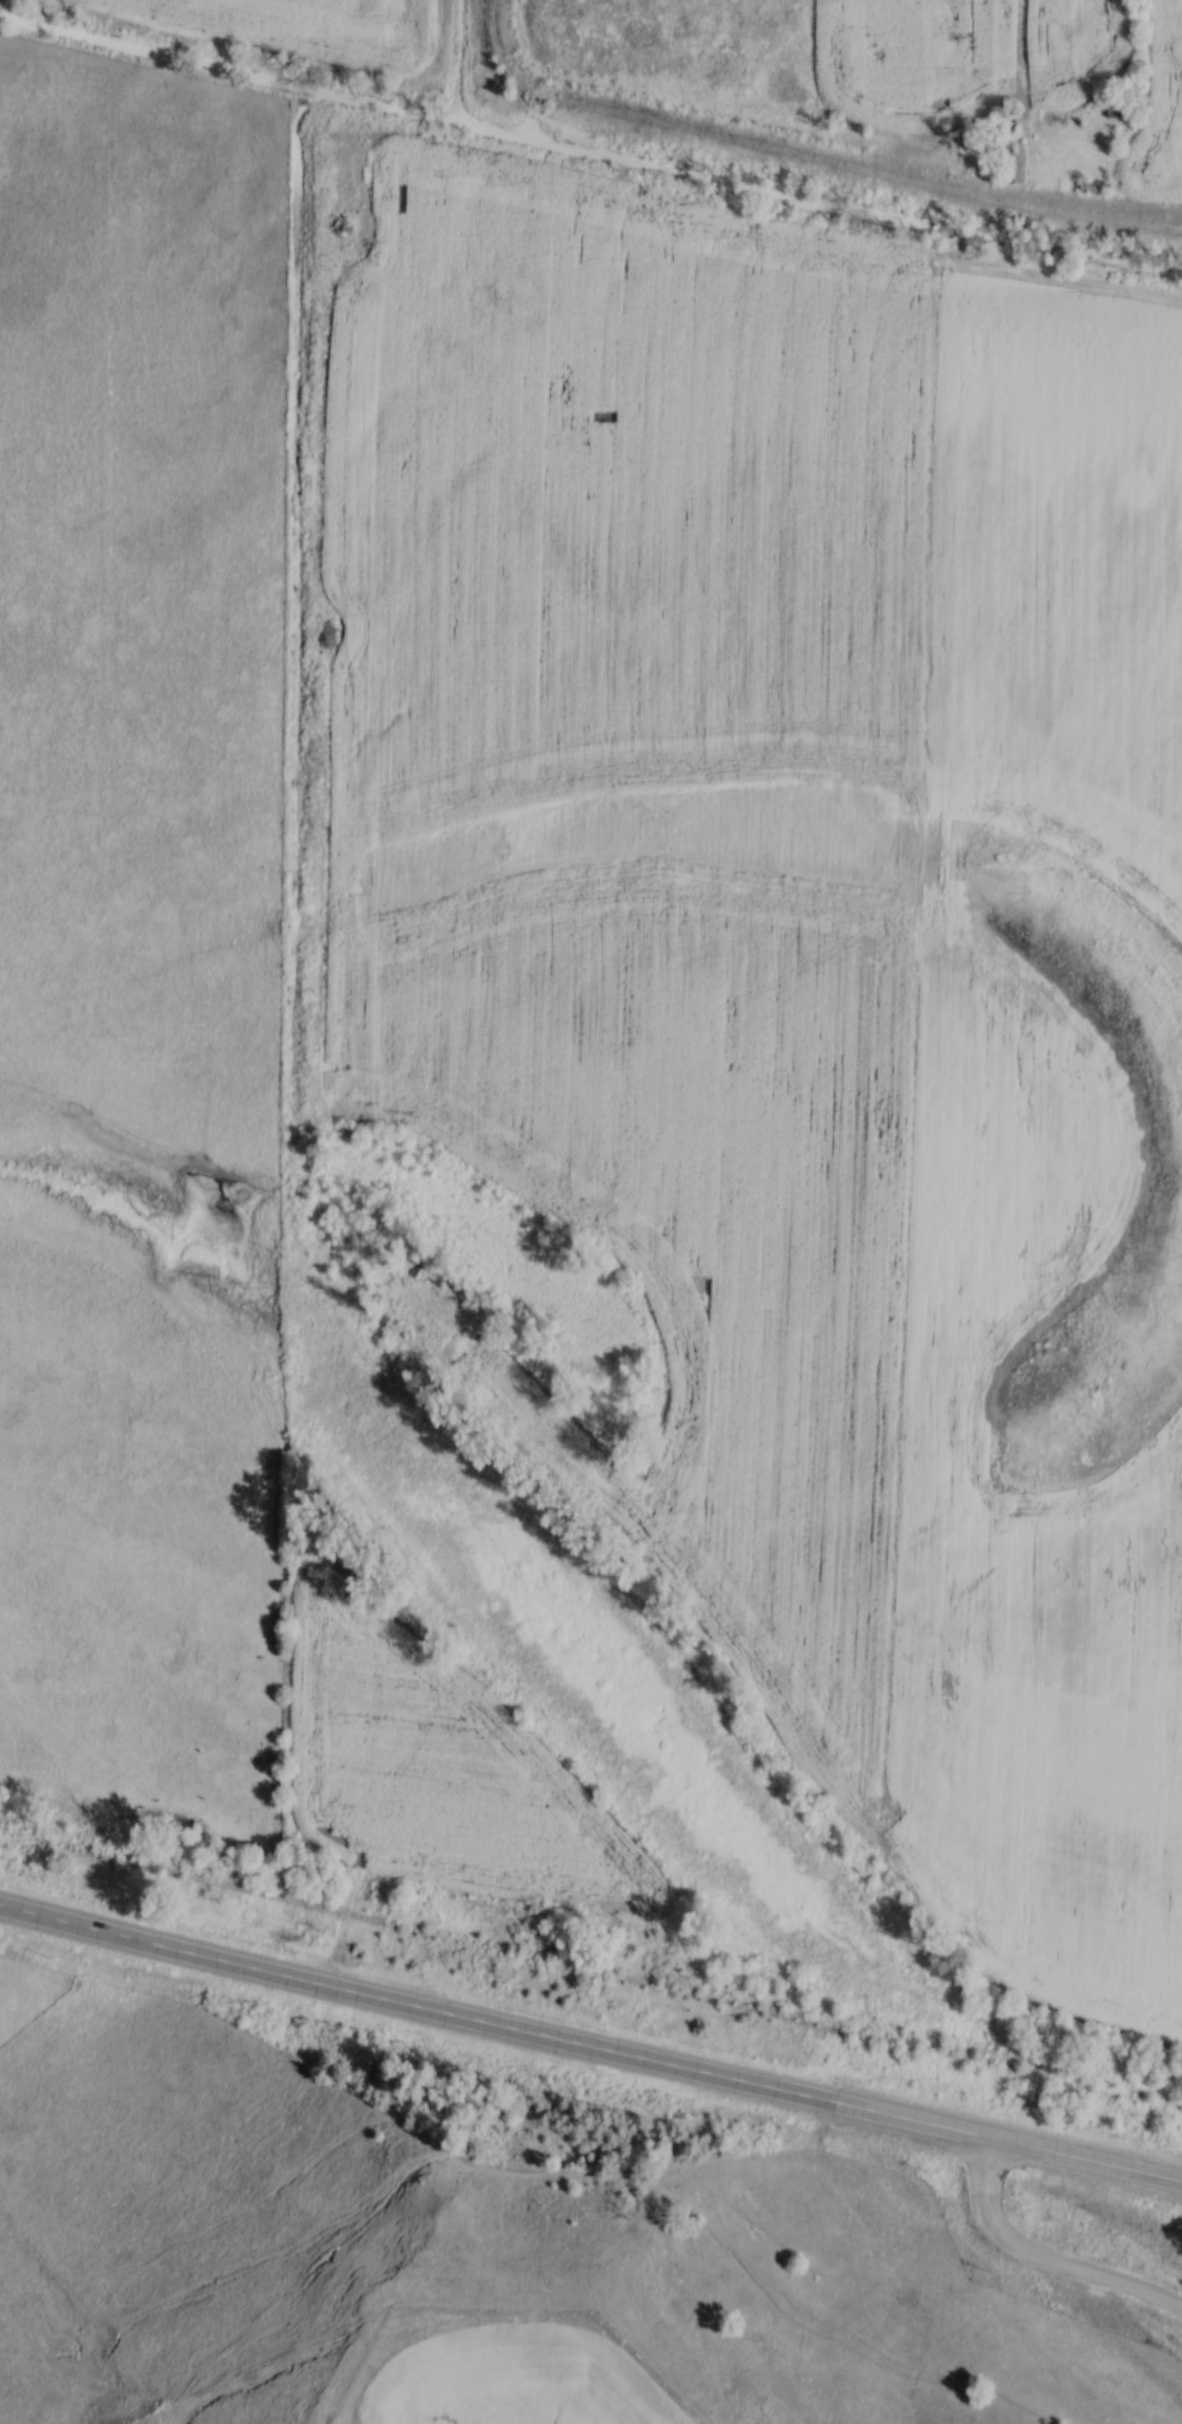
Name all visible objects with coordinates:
road: (412, 2005)
road: (1004, 2138)
road: (1042, 2254)

